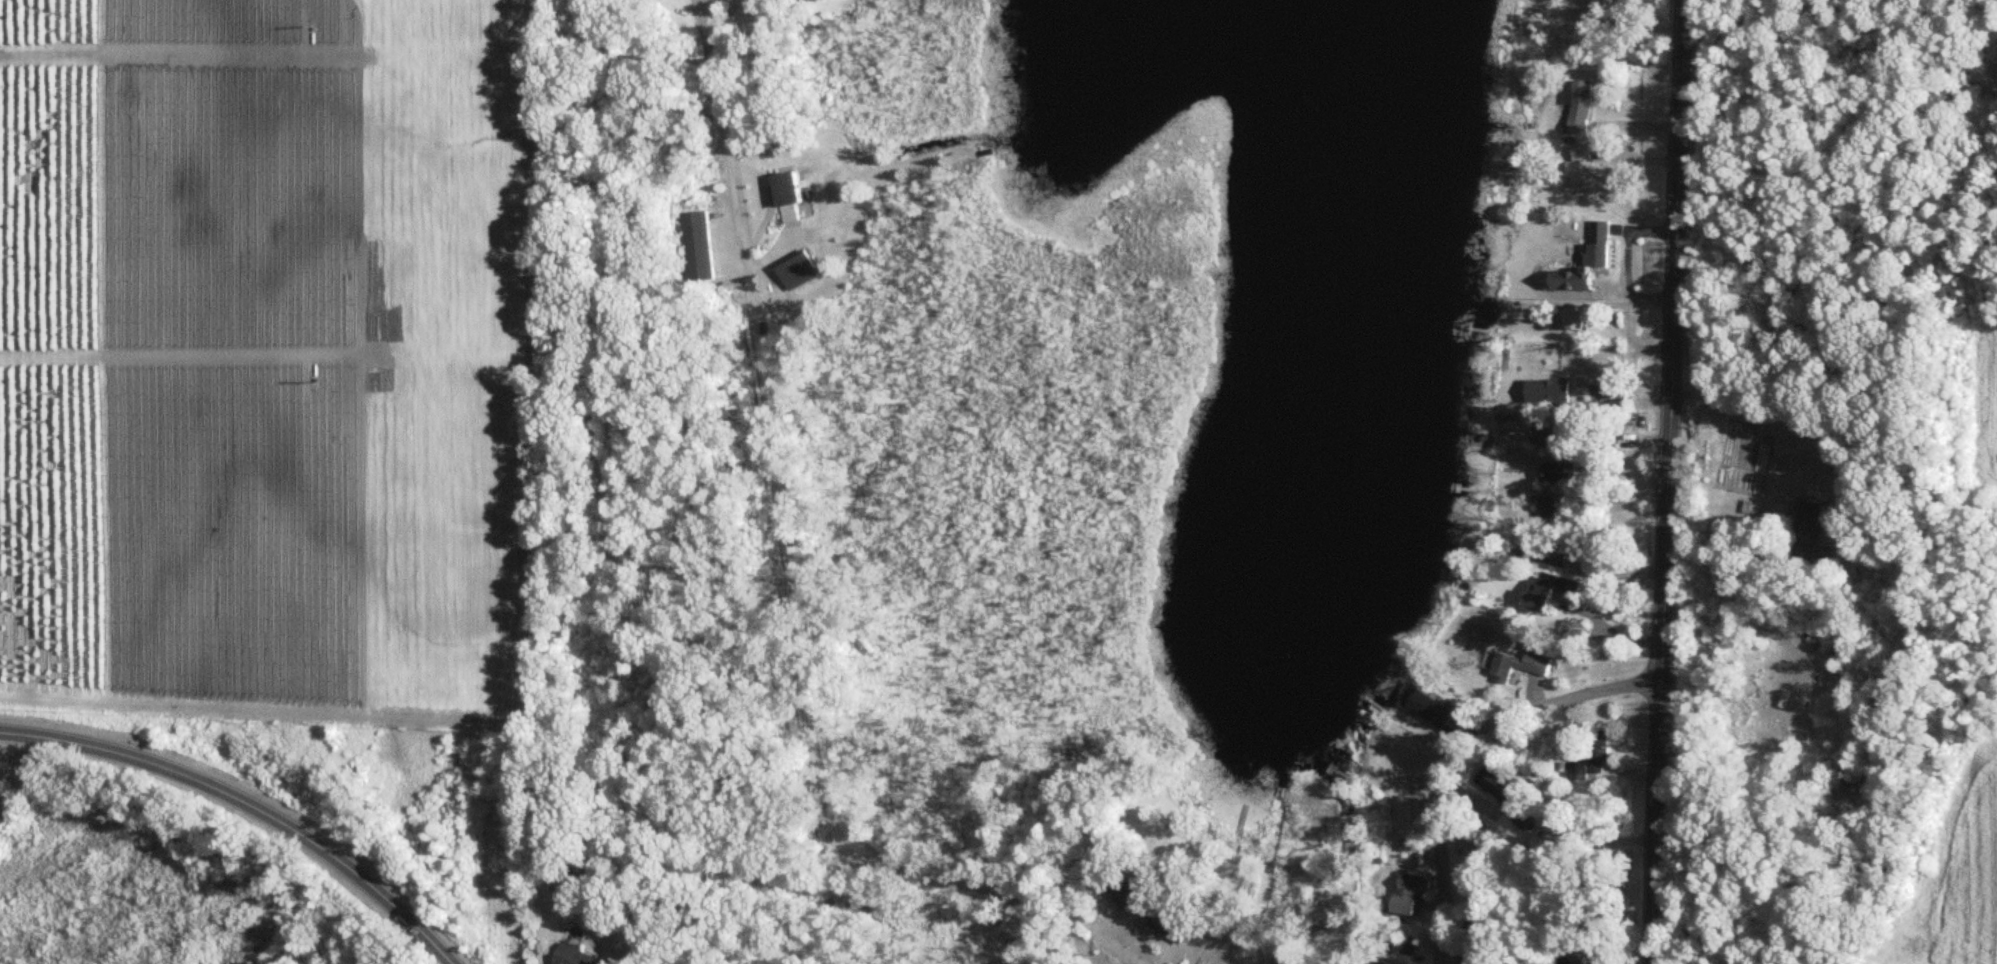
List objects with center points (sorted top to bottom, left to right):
road: (1609, 49)
building: (1580, 106)
road: (1680, 115)
building: (1582, 168)
building: (789, 197)
building: (1599, 245)
building: (697, 247)
road: (1624, 263)
building: (798, 274)
building: (1578, 320)
building: (1549, 392)
road: (1815, 423)
building: (1551, 436)
building: (1560, 473)
building: (1543, 505)
building: (1811, 532)
road: (784, 549)
building: (1545, 556)
building: (1542, 593)
road: (1663, 596)
road: (1588, 600)
building: (1520, 666)
building: (1432, 710)
road: (1454, 748)
building: (1598, 750)
building: (1499, 789)
road: (248, 804)
building: (1578, 886)
building: (1123, 891)
building: (1410, 895)
building: (1170, 928)
road: (414, 949)
road: (1122, 950)
building: (1583, 955)
building: (574, 957)
building: (1478, 962)

